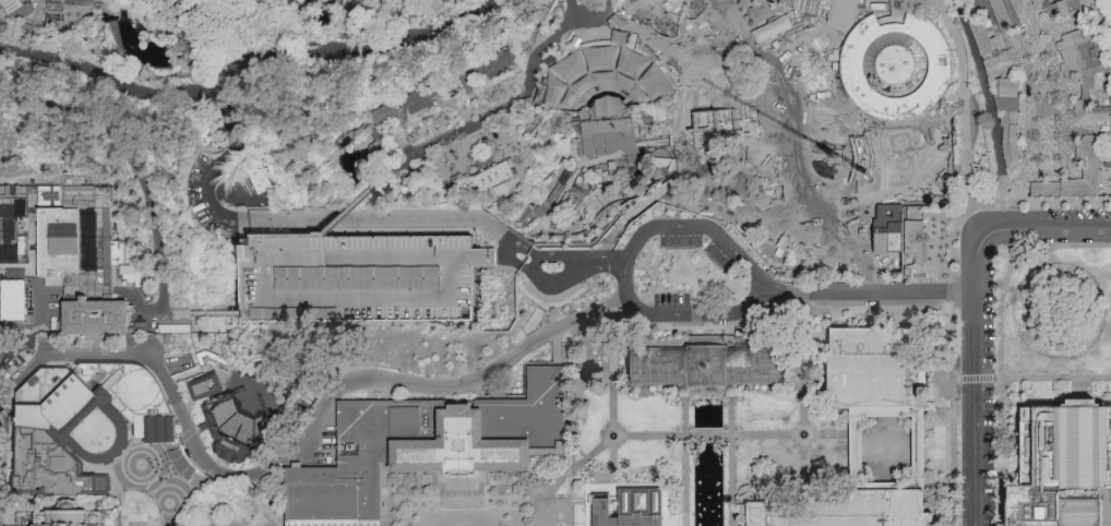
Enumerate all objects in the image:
building: (640, 4)
building: (814, 5)
building: (1041, 5)
building: (1072, 7)
building: (683, 8)
building: (15, 9)
road: (1041, 12)
building: (1008, 14)
road: (569, 19)
road: (589, 29)
building: (0, 31)
building: (708, 31)
road: (205, 39)
building: (988, 50)
building: (1085, 60)
building: (501, 64)
building: (895, 67)
road: (242, 68)
building: (609, 72)
road: (1064, 76)
road: (988, 80)
building: (775, 96)
road: (1086, 96)
building: (418, 99)
road: (514, 108)
building: (386, 112)
road: (991, 112)
road: (1100, 112)
road: (226, 116)
building: (1007, 119)
building: (609, 130)
road: (964, 130)
building: (1109, 136)
road: (1016, 152)
road: (410, 154)
building: (1083, 172)
building: (260, 176)
building: (494, 177)
road: (839, 183)
building: (845, 183)
building: (834, 186)
building: (1044, 192)
building: (1010, 194)
road: (886, 205)
road: (348, 211)
building: (12, 218)
road: (320, 218)
building: (784, 222)
road: (665, 228)
building: (80, 230)
building: (913, 241)
road: (848, 242)
road: (1061, 246)
building: (804, 254)
building: (840, 254)
road: (566, 256)
park: (555, 263)
road: (262, 267)
building: (134, 273)
road: (838, 275)
building: (358, 276)
parking garage: (358, 276)
road: (559, 280)
road: (951, 294)
road: (874, 298)
road: (804, 304)
road: (716, 311)
road: (877, 312)
road: (205, 313)
road: (975, 314)
road: (625, 316)
road: (36, 321)
building: (92, 324)
road: (716, 326)
road: (1000, 361)
road: (612, 363)
road: (803, 367)
building: (708, 371)
building: (884, 371)
road: (1055, 379)
road: (977, 380)
road: (997, 380)
road: (956, 381)
road: (946, 382)
building: (207, 386)
road: (1037, 403)
road: (1082, 408)
road: (901, 410)
road: (939, 411)
road: (859, 413)
road: (320, 415)
road: (684, 418)
road: (731, 418)
street lamp: (607, 422)
building: (87, 423)
building: (242, 425)
street lamp: (672, 430)
road: (755, 434)
fountain: (802, 434)
road: (658, 435)
road: (707, 435)
road: (811, 435)
road: (604, 437)
fountain: (613, 439)
building: (426, 449)
road: (915, 450)
road: (670, 453)
road: (745, 453)
building: (855, 462)
road: (612, 465)
road: (573, 467)
building: (1062, 471)
road: (860, 473)
street lamp: (573, 474)
road: (153, 475)
road: (802, 476)
road: (471, 478)
road: (574, 482)
road: (731, 483)
road: (684, 485)
road: (886, 486)
road: (896, 487)
road: (182, 493)
road: (262, 505)
road: (588, 507)
building: (630, 510)
building: (846, 511)
building: (73, 516)
building: (19, 525)

